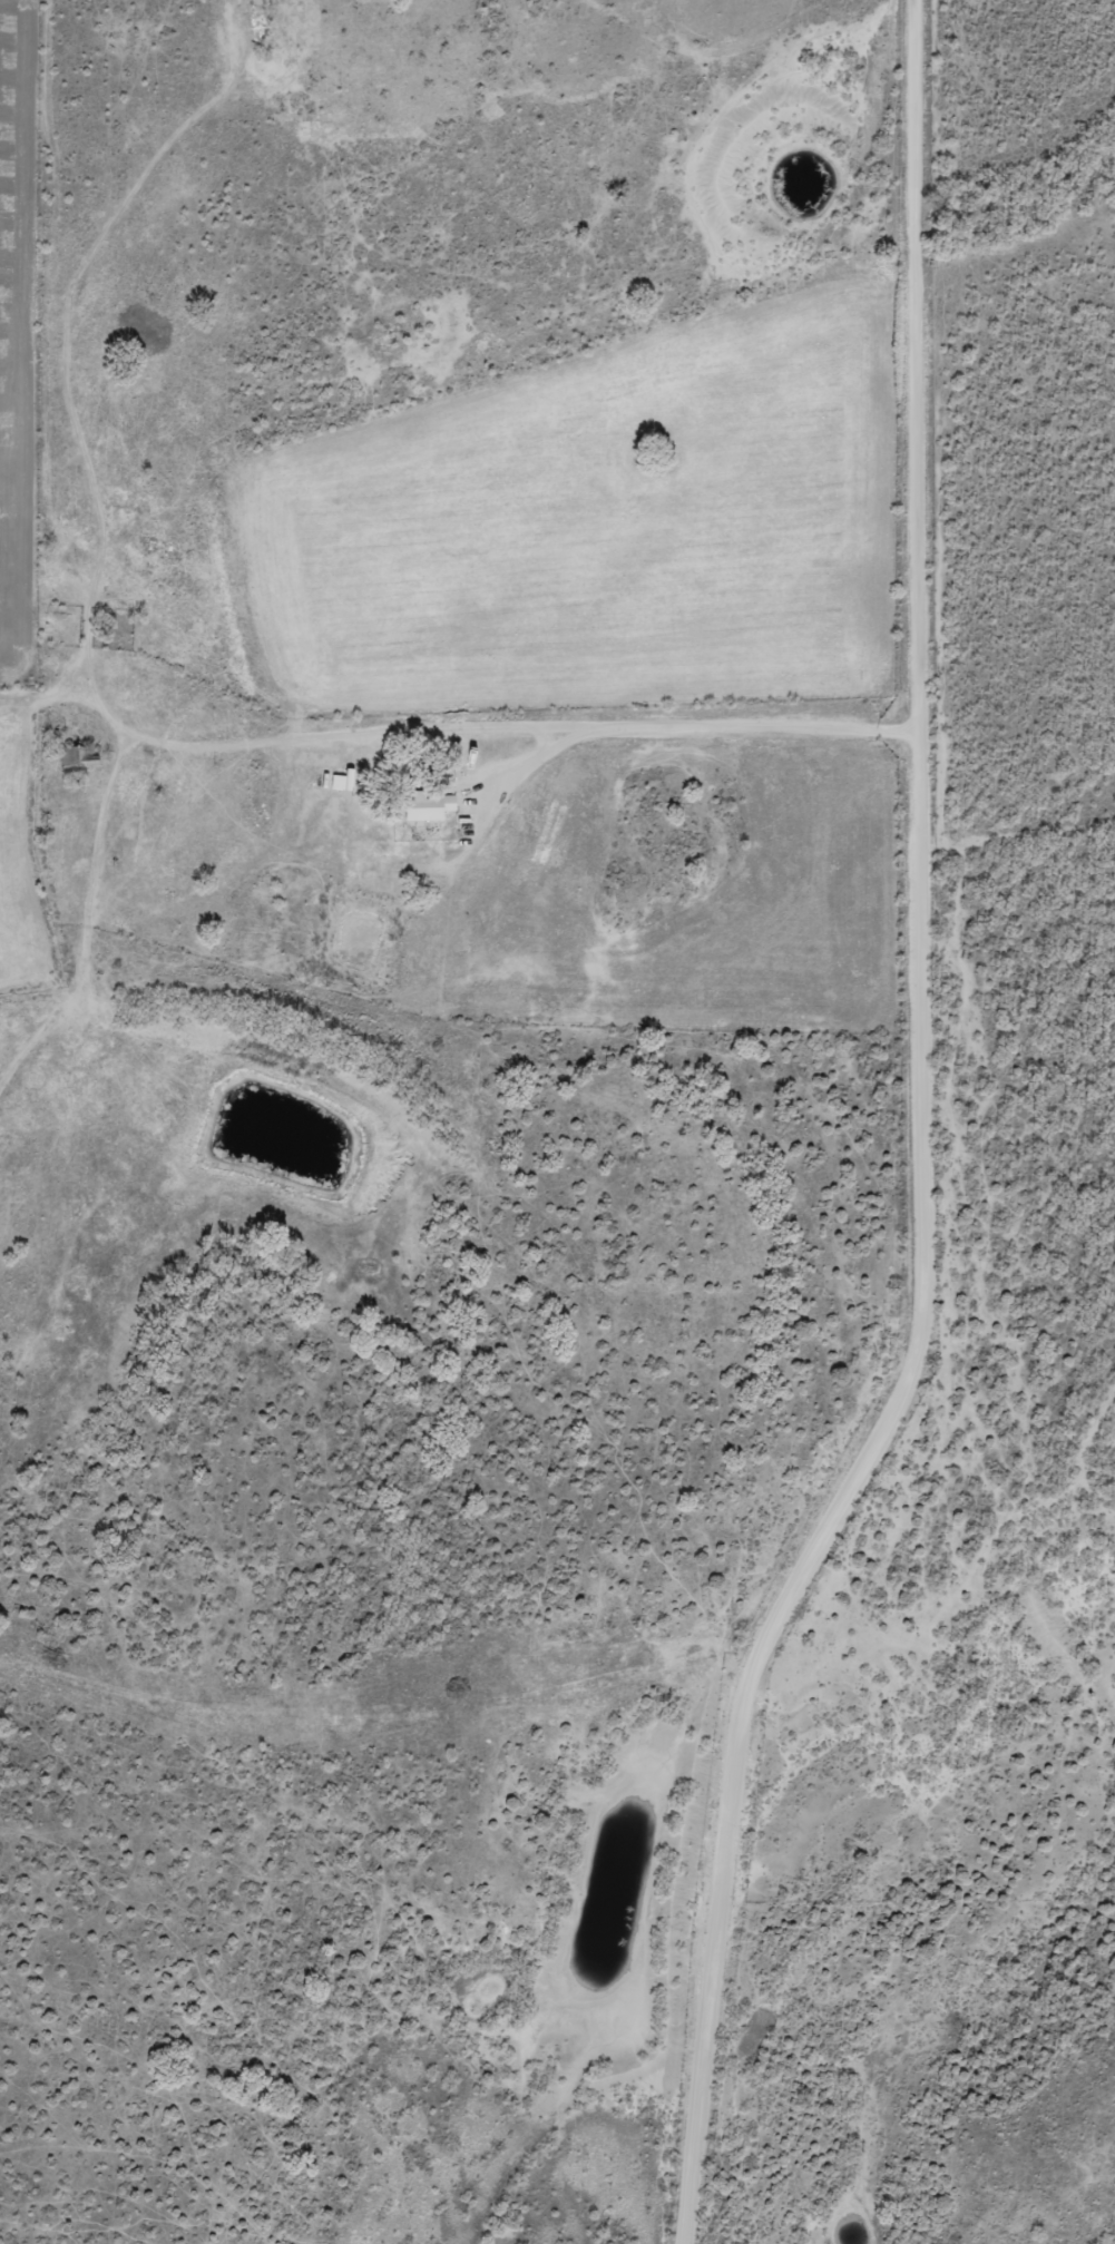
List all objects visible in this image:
building: (76, 756)
road: (946, 1139)

